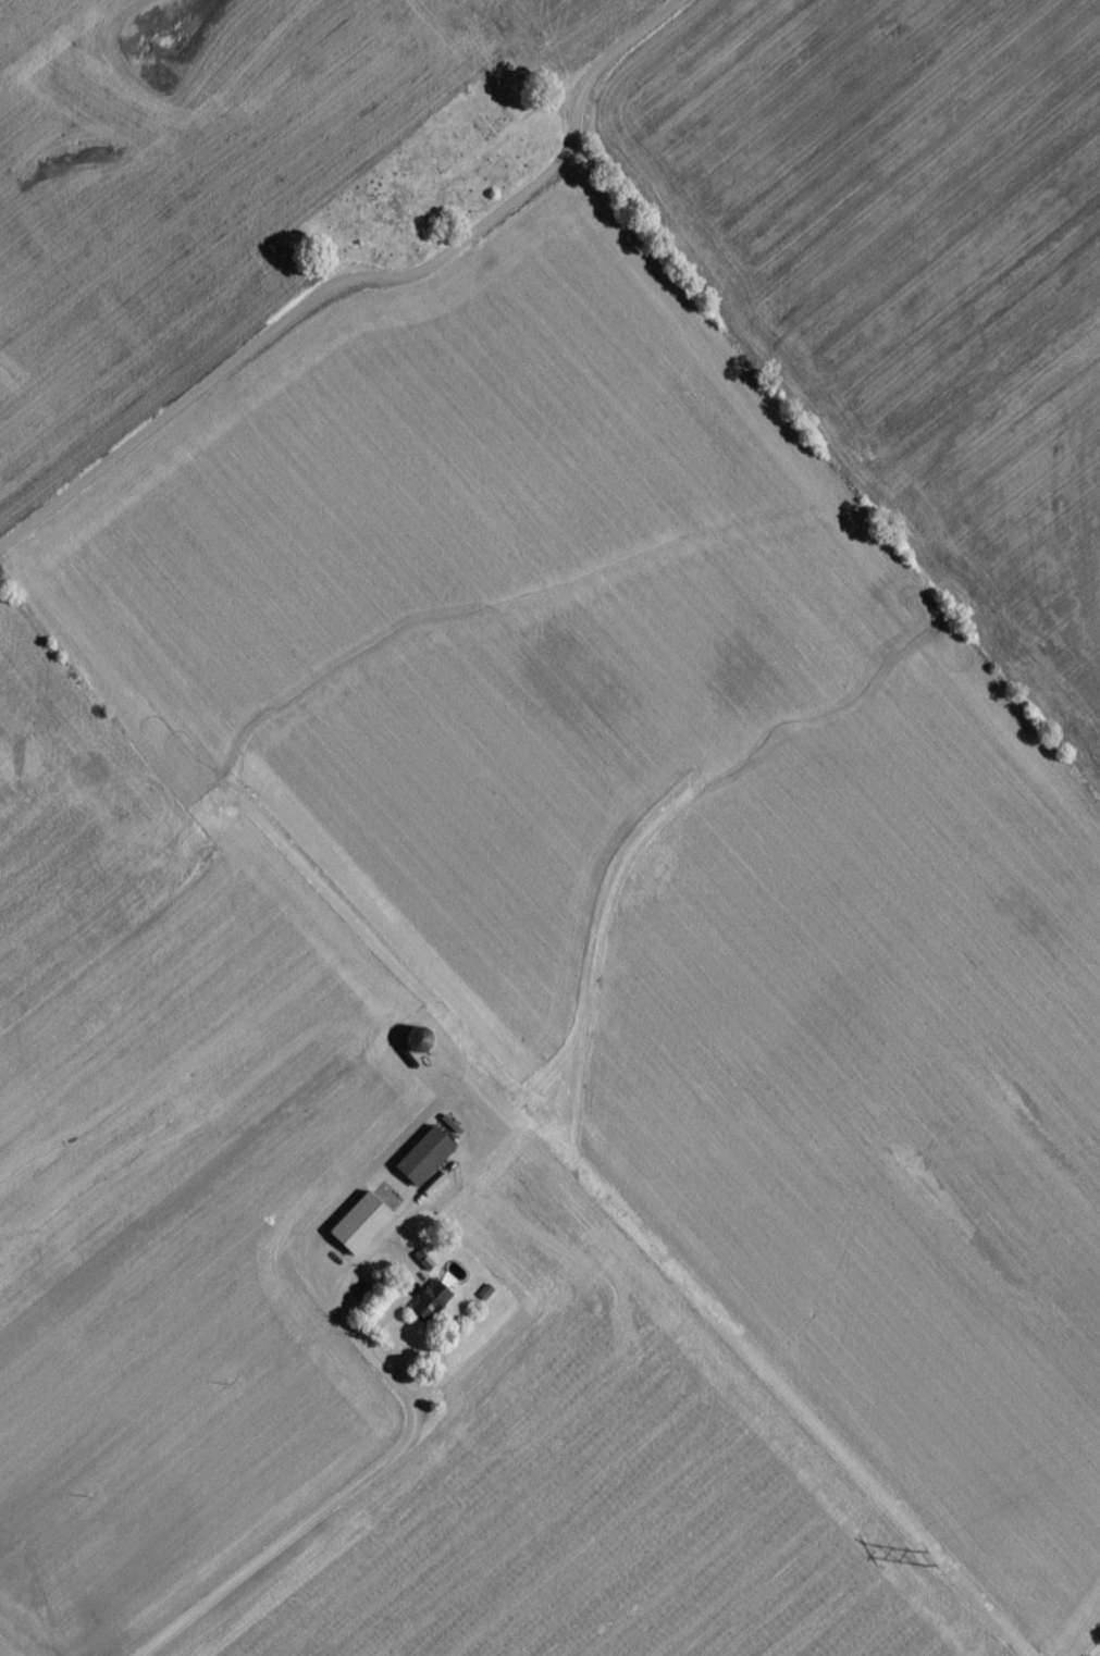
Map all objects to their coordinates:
park: (438, 183)
road: (363, 283)
building: (419, 1162)
building: (363, 1224)
building: (425, 1308)
road: (346, 1493)
power tower: (923, 1565)

